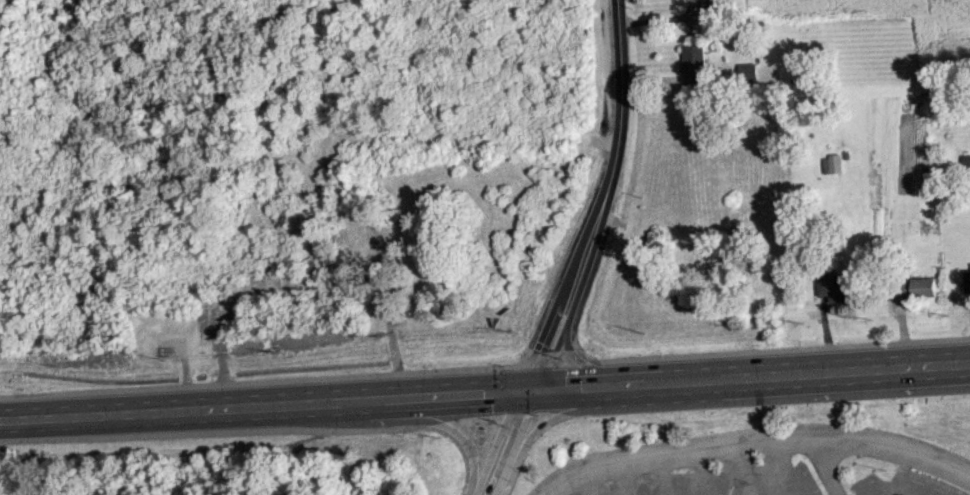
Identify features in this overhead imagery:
crop: (945, 38)
building: (694, 63)
building: (748, 70)
road: (621, 129)
building: (831, 163)
building: (966, 279)
building: (922, 286)
building: (835, 288)
road: (563, 322)
traffic signals: (537, 341)
road: (583, 364)
road: (523, 372)
road: (797, 372)
traffic signals: (580, 386)
road: (501, 390)
traffic signals: (481, 392)
road: (189, 409)
road: (561, 414)
traffic signals: (526, 416)
road: (443, 426)
road: (755, 440)
road: (514, 441)
road: (787, 467)
road: (822, 467)
road: (741, 469)
road: (705, 472)
road: (664, 475)
road: (623, 479)
road: (584, 483)
road: (893, 486)
road: (547, 493)

